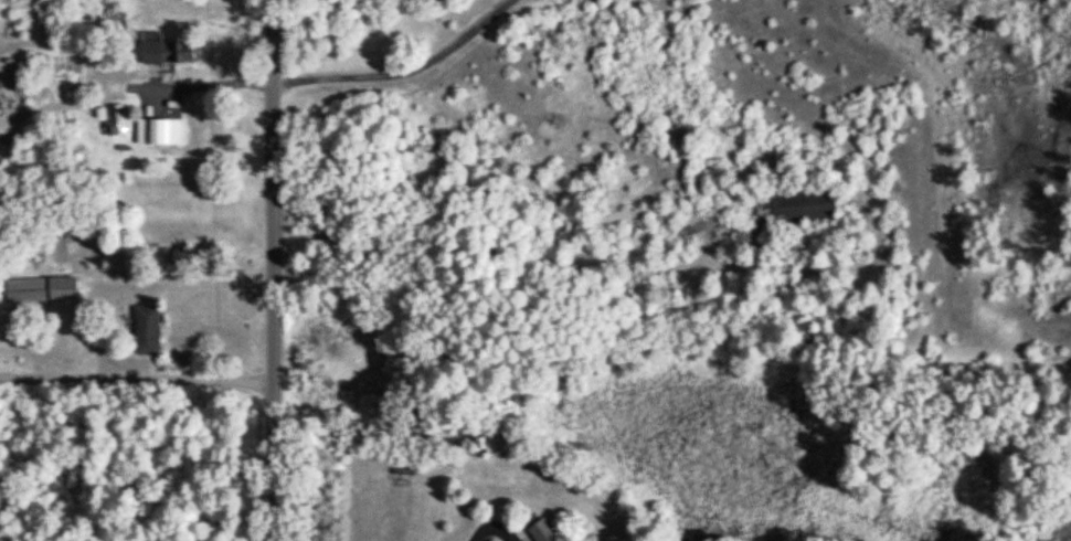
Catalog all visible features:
road: (392, 70)
road: (204, 84)
building: (115, 117)
building: (157, 129)
building: (805, 204)
road: (269, 269)
road: (181, 277)
building: (41, 287)
building: (147, 328)
road: (137, 382)
building: (496, 438)
road: (489, 524)
building: (548, 532)

